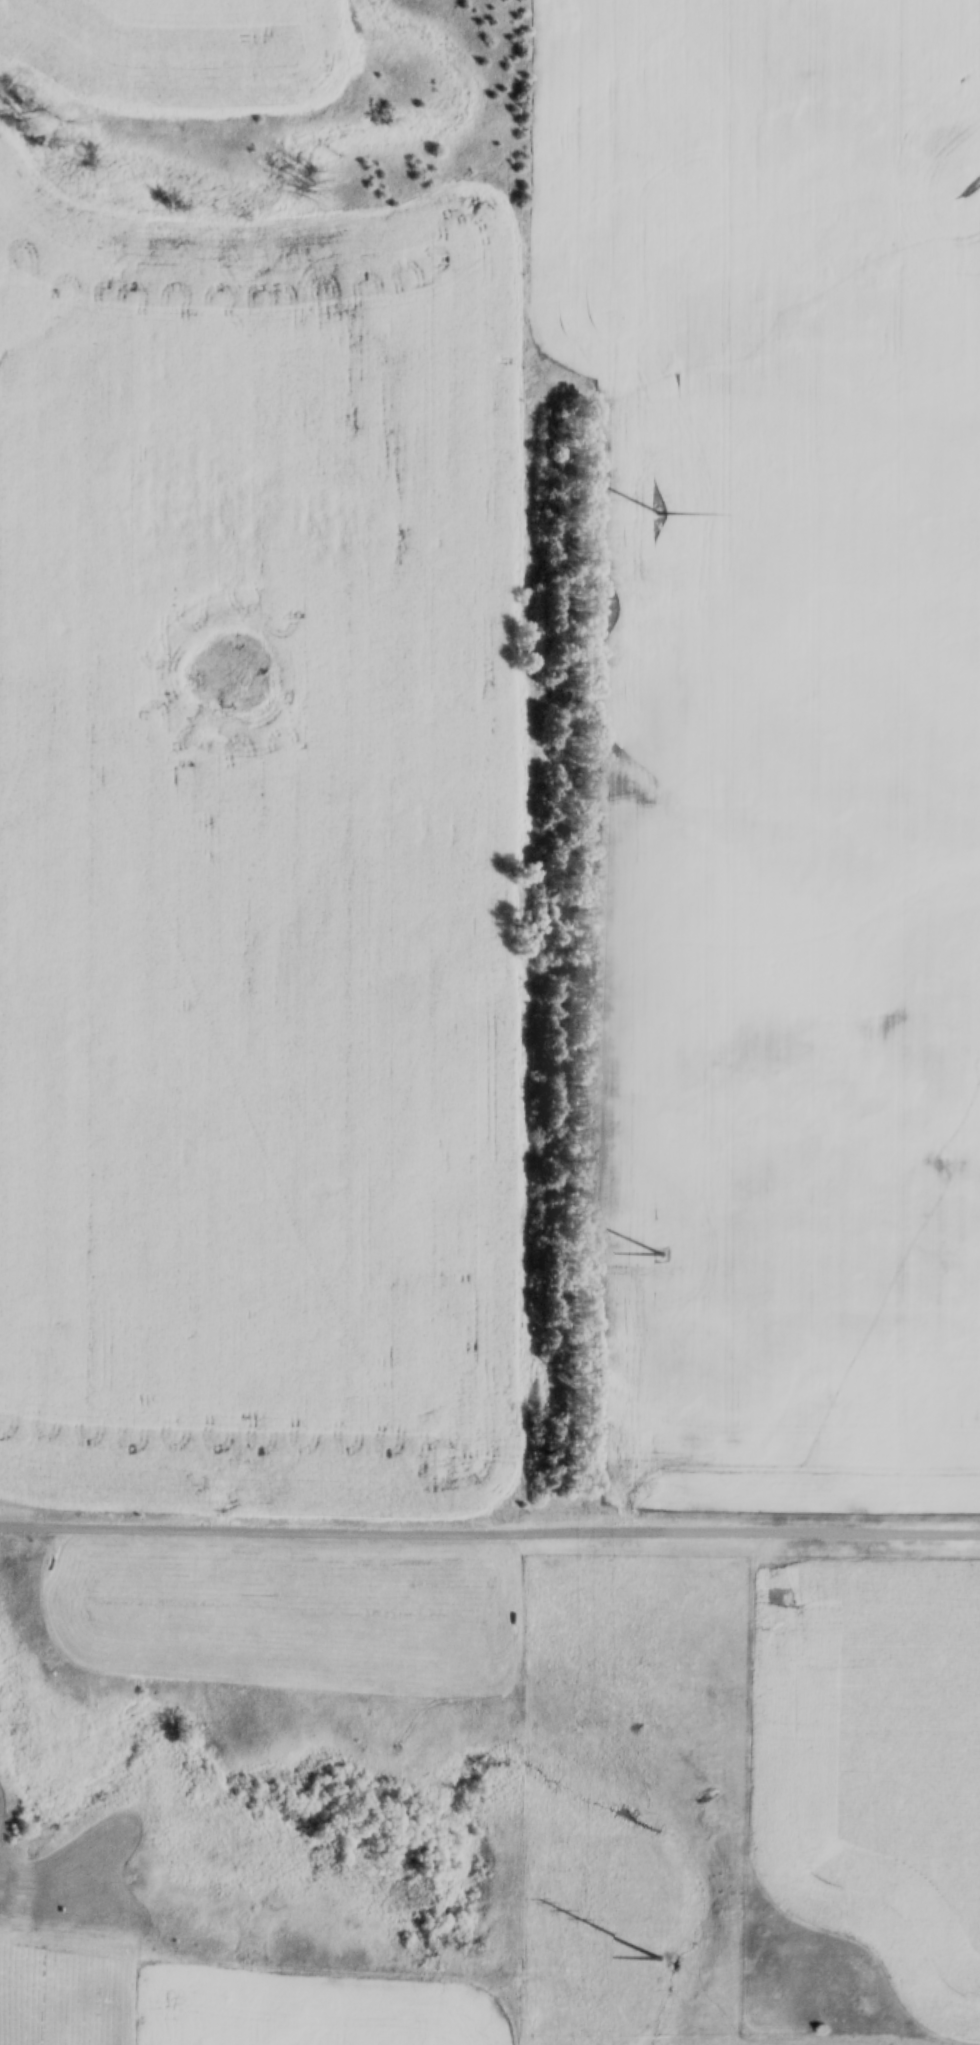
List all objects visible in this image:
power tower: (661, 511)
power tower: (661, 1253)
road: (489, 1531)
power tower: (661, 1958)

